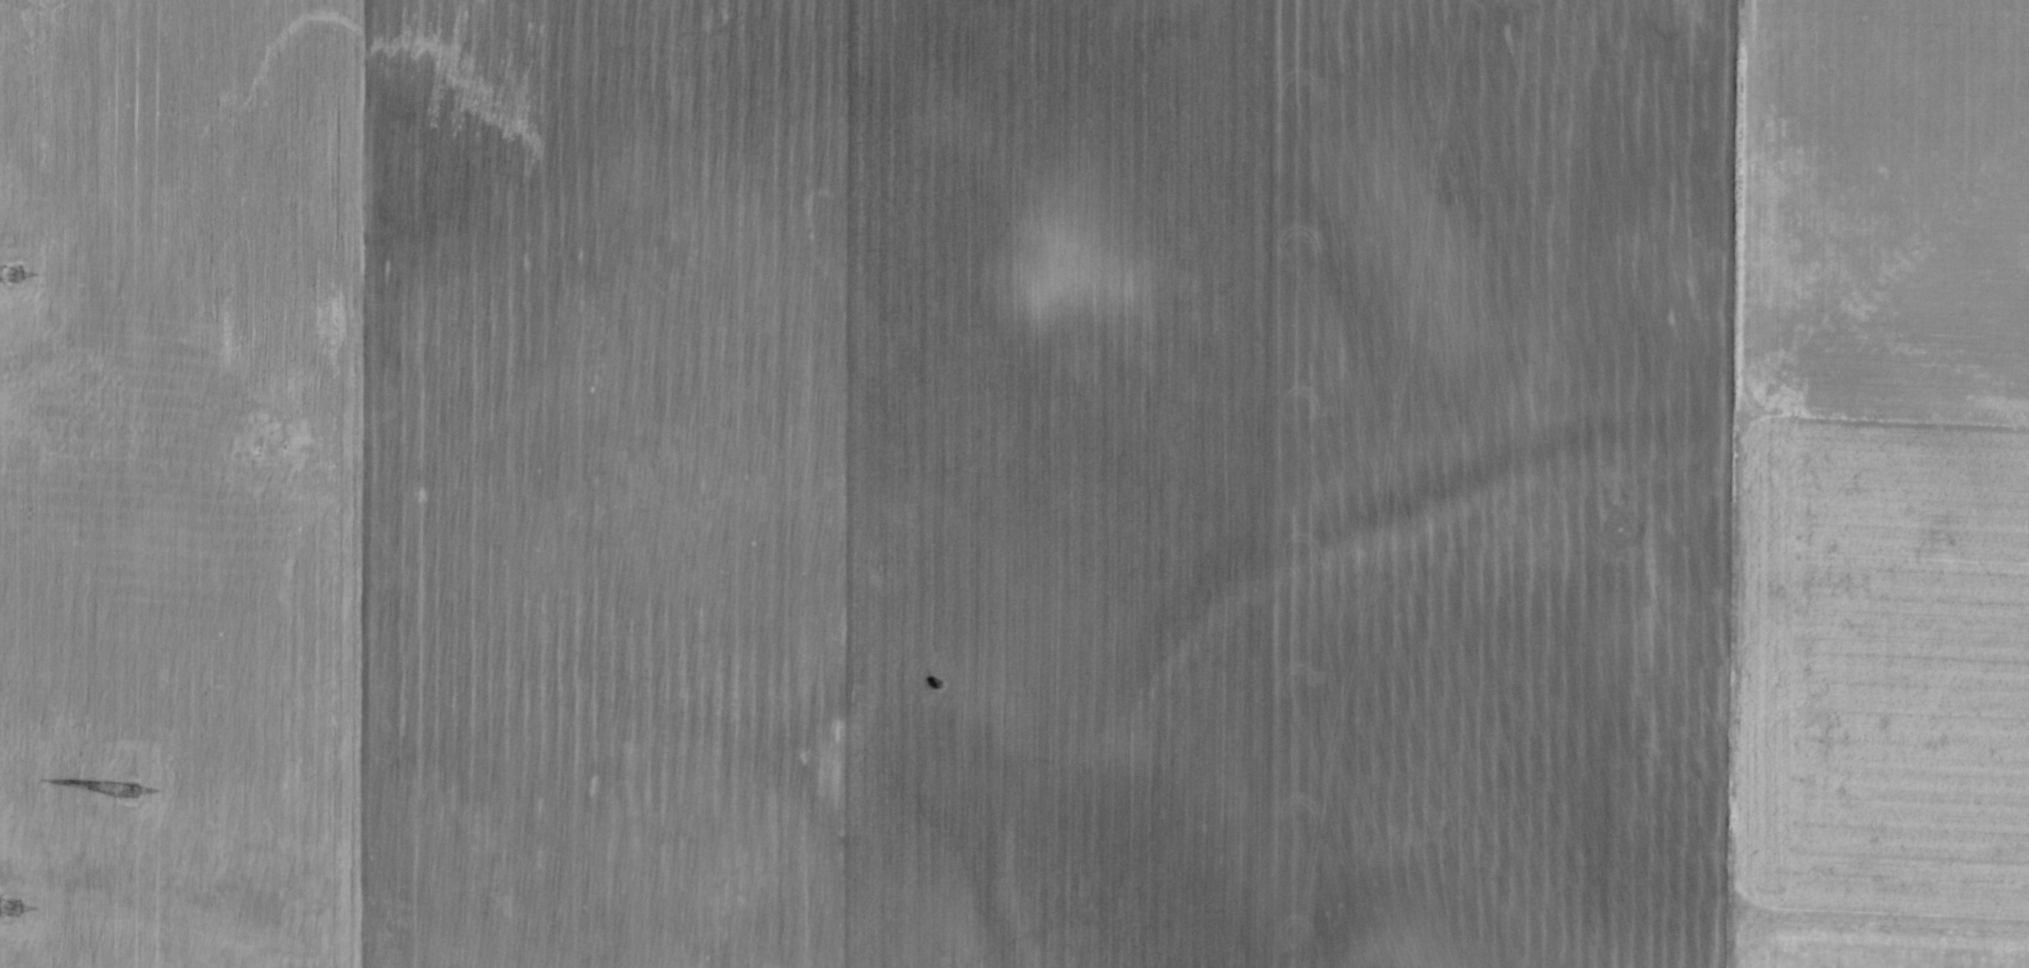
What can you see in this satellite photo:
power tower: (5, 272)
crop: (1014, 484)
power tower: (127, 788)
power tower: (4, 900)

